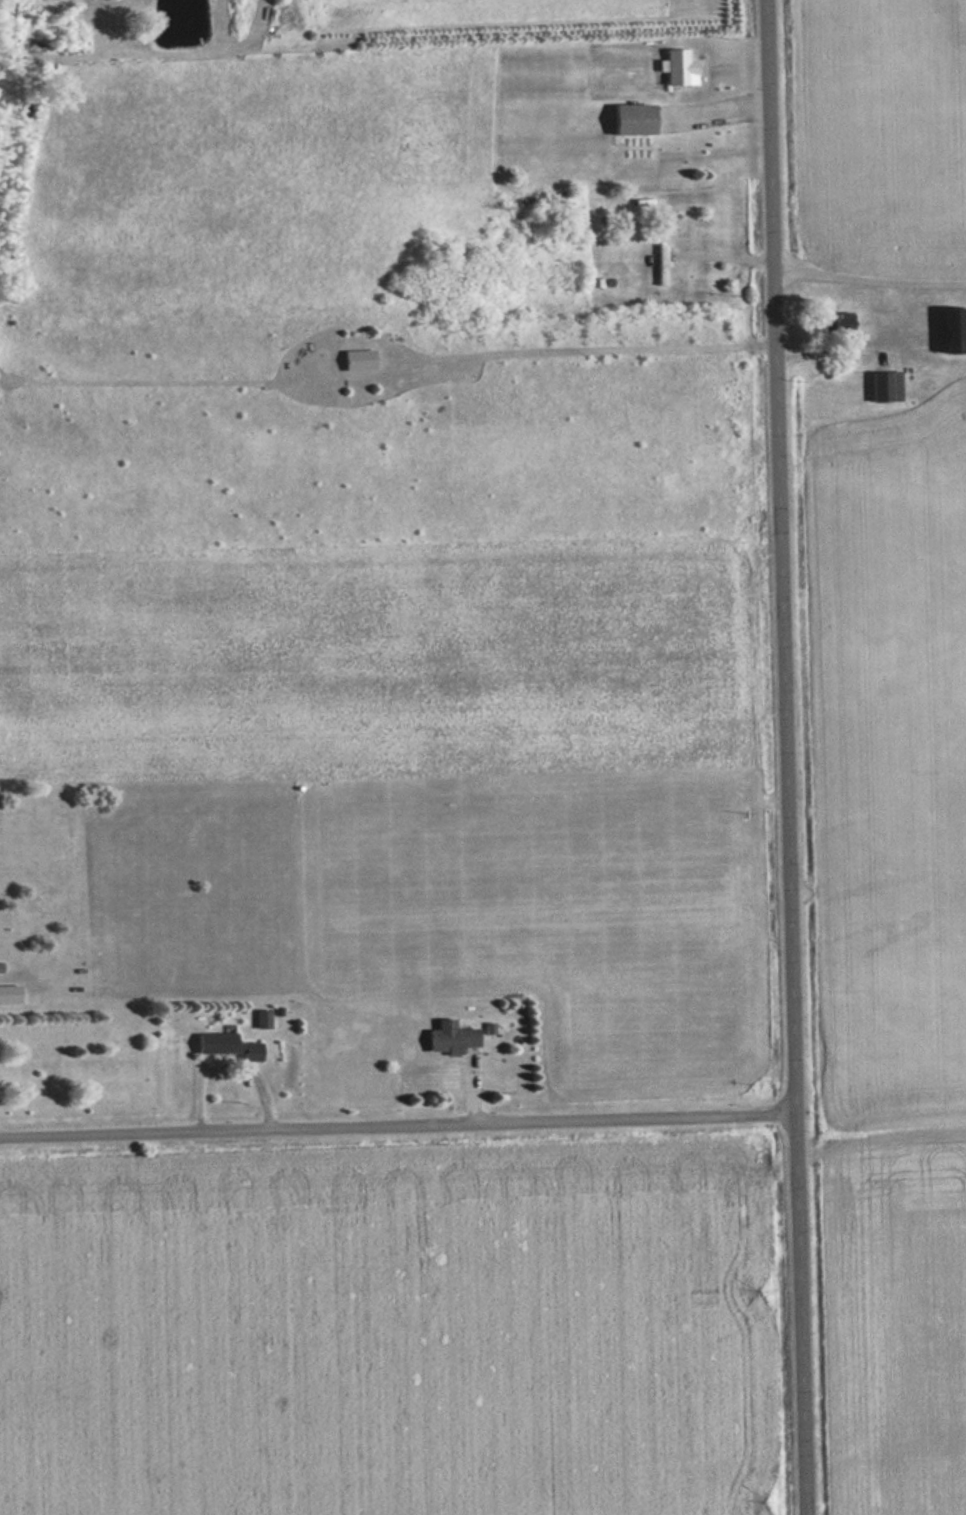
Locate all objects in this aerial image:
building: (680, 69)
building: (634, 120)
building: (662, 265)
building: (838, 324)
building: (956, 331)
building: (360, 361)
building: (886, 387)
road: (783, 757)
building: (10, 995)
building: (263, 1020)
building: (451, 1039)
building: (217, 1044)
road: (396, 1126)

